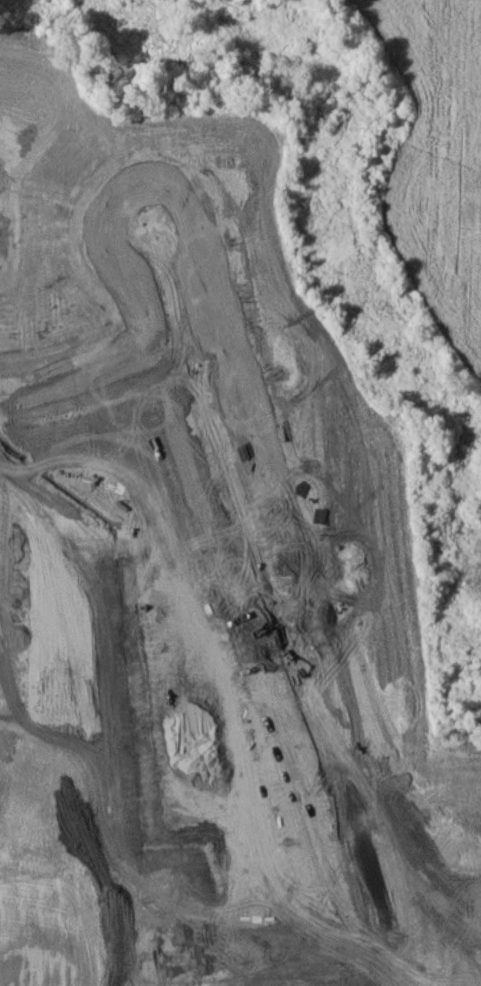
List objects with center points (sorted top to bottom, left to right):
road: (269, 579)

